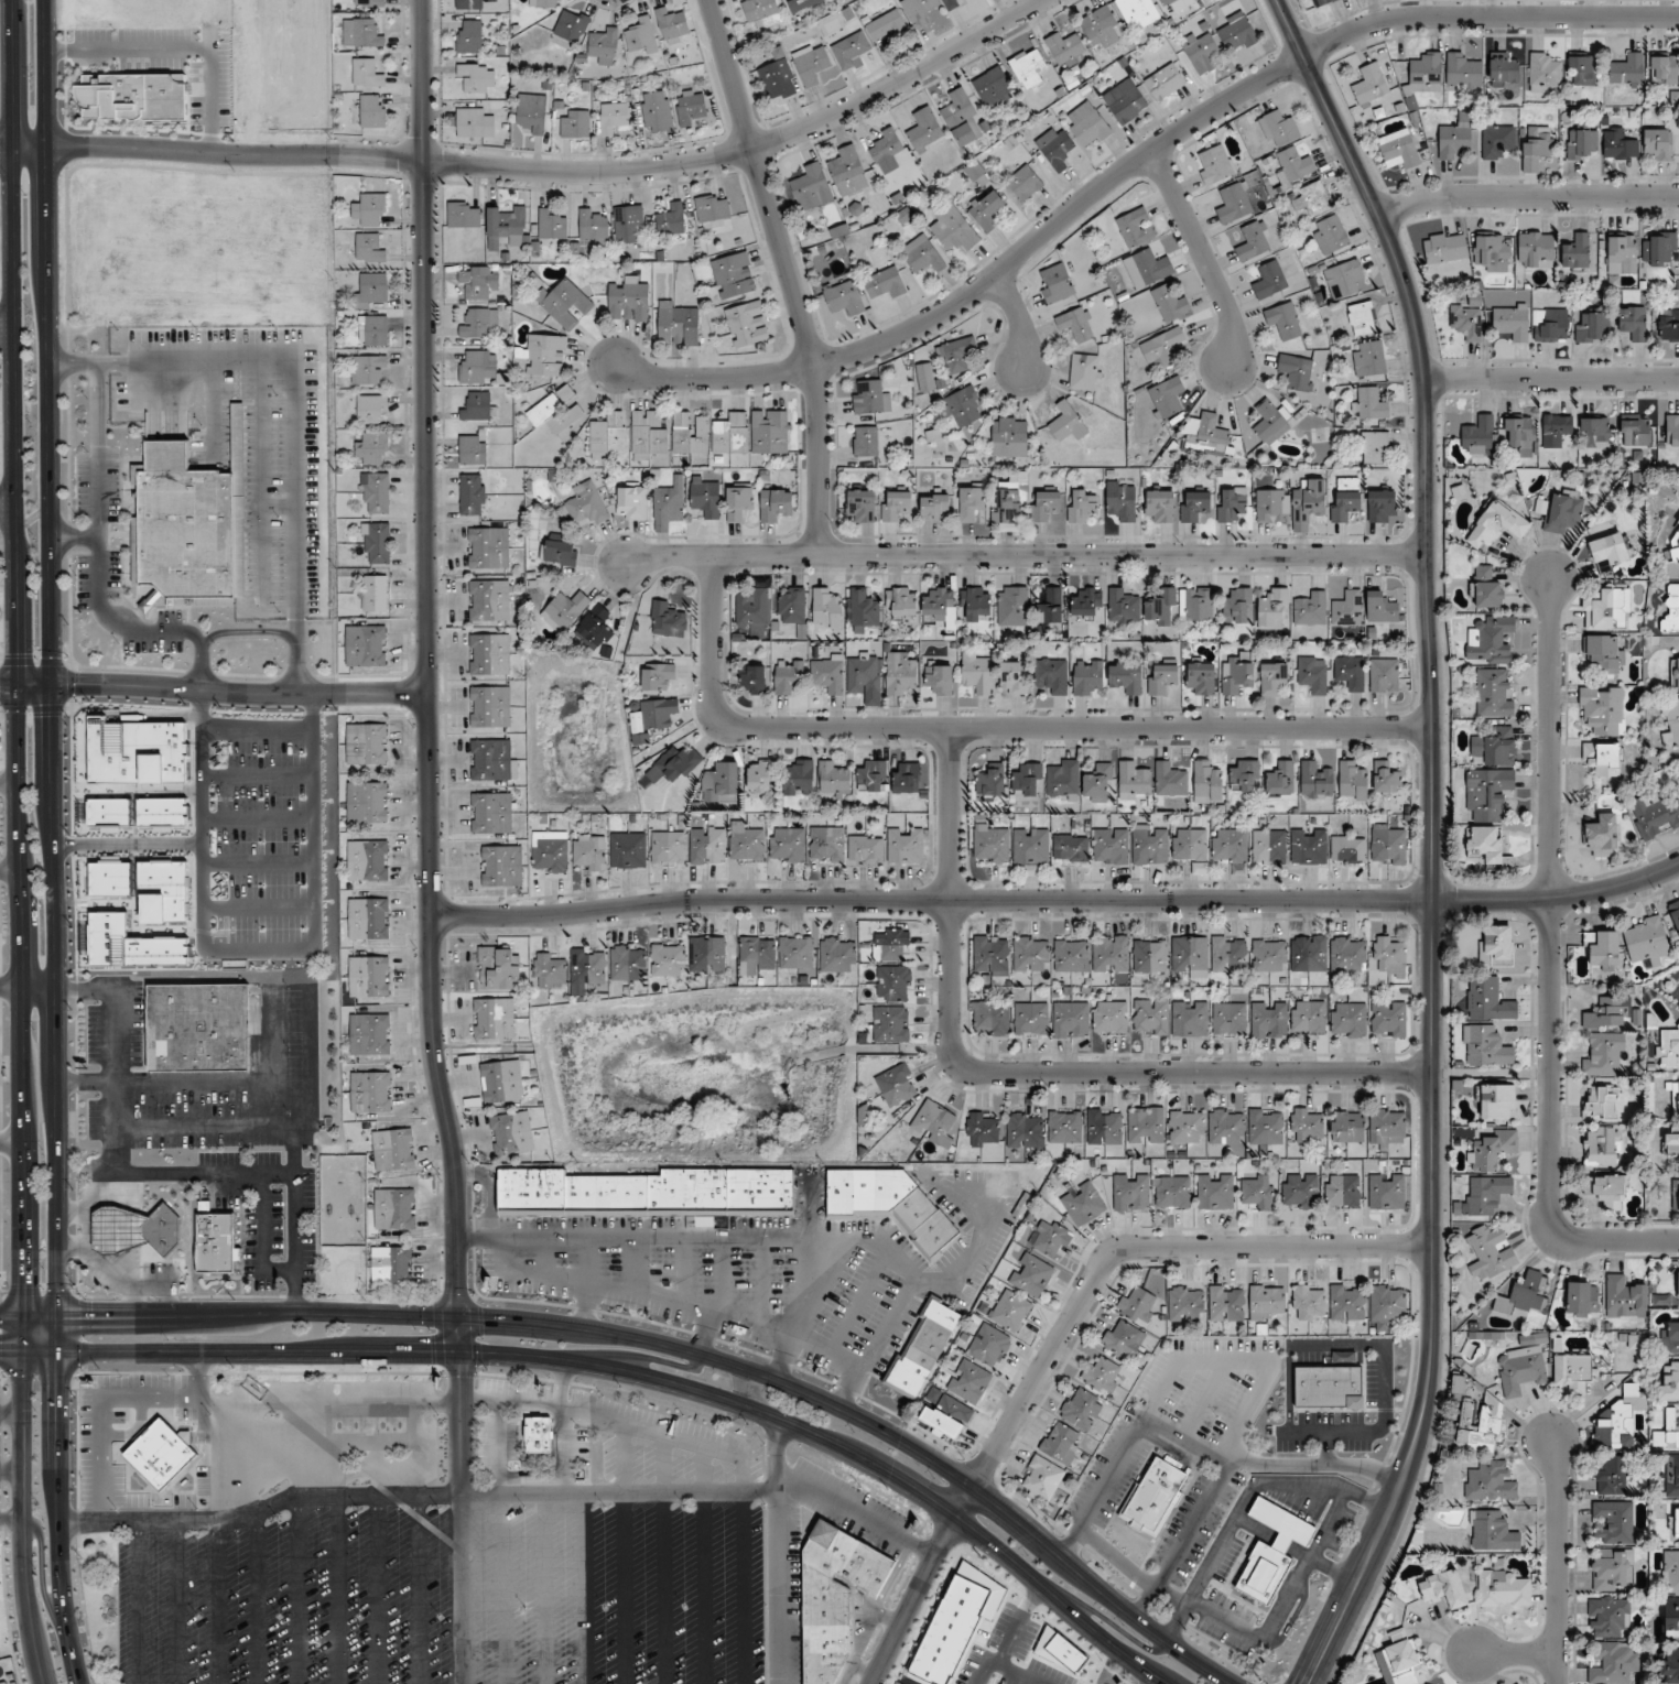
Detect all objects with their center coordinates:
building: (1166, 2)
building: (1322, 2)
building: (369, 3)
building: (543, 3)
building: (952, 3)
building: (468, 4)
building: (802, 4)
building: (918, 11)
building: (761, 13)
building: (1137, 13)
building: (672, 25)
building: (571, 26)
building: (886, 26)
building: (1101, 29)
building: (361, 33)
building: (1238, 34)
building: (468, 36)
building: (641, 37)
building: (604, 46)
building: (1065, 48)
building: (851, 51)
building: (1201, 51)
building: (814, 65)
building: (1028, 67)
building: (1582, 68)
building: (1664, 69)
building: (1503, 70)
building: (1626, 70)
building: (1463, 72)
building: (366, 73)
building: (1543, 73)
building: (778, 75)
building: (1426, 75)
building: (477, 78)
building: (1165, 83)
building: (1371, 86)
building: (993, 88)
building: (1125, 101)
building: (691, 108)
building: (372, 111)
building: (657, 111)
building: (532, 115)
building: (960, 117)
building: (613, 118)
building: (474, 123)
building: (574, 124)
building: (1087, 126)
building: (923, 129)
building: (1279, 129)
building: (1453, 139)
building: (1497, 141)
building: (1537, 142)
building: (1583, 143)
building: (1658, 143)
building: (1620, 144)
building: (1055, 149)
building: (1399, 150)
road: (1134, 164)
building: (1215, 165)
building: (1295, 166)
road: (540, 171)
building: (848, 172)
building: (1023, 184)
building: (812, 188)
road: (1527, 195)
building: (1312, 199)
building: (1234, 203)
building: (370, 210)
building: (713, 210)
building: (987, 210)
building: (464, 215)
building: (672, 220)
building: (627, 224)
building: (507, 226)
building: (551, 226)
building: (594, 226)
building: (1134, 227)
building: (953, 229)
building: (1331, 235)
building: (1254, 241)
building: (370, 248)
building: (1445, 248)
building: (1536, 249)
building: (1659, 249)
building: (1575, 252)
building: (1490, 253)
road: (1203, 254)
building: (1622, 254)
building: (922, 256)
building: (1148, 268)
road: (787, 273)
building: (733, 275)
building: (1343, 279)
building: (1269, 280)
building: (478, 283)
building: (885, 284)
building: (1057, 284)
building: (372, 290)
building: (844, 297)
building: (628, 301)
building: (1169, 303)
building: (565, 304)
road: (1020, 318)
building: (1362, 319)
building: (1467, 320)
building: (1512, 320)
building: (1283, 322)
building: (478, 323)
building: (1634, 323)
building: (747, 324)
building: (676, 325)
building: (1076, 325)
building: (1668, 325)
road: (6, 326)
building: (1592, 326)
building: (1553, 327)
building: (372, 330)
building: (1163, 347)
building: (543, 356)
building: (955, 356)
building: (1368, 359)
building: (474, 367)
building: (368, 369)
building: (1085, 372)
building: (1296, 372)
building: (925, 378)
road: (1552, 378)
building: (1167, 396)
building: (870, 398)
building: (1369, 404)
building: (478, 406)
building: (964, 406)
building: (370, 408)
building: (554, 413)
road: (297, 414)
building: (1065, 423)
building: (1269, 423)
building: (1556, 430)
building: (1635, 430)
building: (1672, 431)
building: (770, 432)
building: (1594, 433)
building: (730, 434)
building: (690, 435)
building: (1206, 435)
building: (1477, 435)
building: (1520, 435)
building: (608, 436)
building: (649, 436)
building: (1009, 436)
building: (866, 441)
building: (371, 448)
building: (1374, 448)
building: (473, 450)
road: (97, 470)
building: (376, 492)
building: (473, 495)
building: (705, 497)
building: (1345, 499)
building: (1122, 500)
building: (1008, 501)
building: (738, 502)
building: (971, 502)
building: (1308, 502)
road: (7, 503)
building: (631, 503)
building: (668, 504)
building: (776, 504)
building: (1231, 504)
building: (586, 506)
building: (862, 506)
building: (896, 506)
building: (1044, 506)
building: (1081, 506)
building: (1159, 507)
building: (1195, 507)
building: (1271, 507)
building: (1380, 507)
building: (934, 508)
building: (1564, 511)
building: (177, 519)
building: (1496, 525)
building: (376, 543)
building: (488, 548)
building: (560, 552)
building: (1610, 552)
road: (1027, 554)
building: (1671, 561)
building: (1485, 588)
building: (375, 594)
building: (489, 600)
building: (901, 602)
building: (938, 602)
building: (975, 602)
building: (1087, 604)
building: (1195, 604)
building: (792, 606)
building: (1012, 606)
building: (1123, 606)
building: (1050, 607)
building: (1160, 607)
building: (1238, 607)
building: (1347, 608)
building: (1380, 608)
building: (566, 609)
building: (752, 609)
building: (826, 609)
building: (1311, 609)
building: (1604, 609)
building: (863, 610)
building: (1272, 610)
building: (1671, 611)
building: (667, 620)
building: (596, 628)
road: (134, 631)
building: (1490, 641)
building: (366, 647)
building: (1604, 653)
building: (489, 654)
building: (900, 672)
building: (977, 672)
building: (1350, 673)
building: (1676, 673)
building: (1237, 674)
building: (1312, 674)
building: (1384, 675)
building: (657, 676)
building: (788, 676)
building: (827, 676)
building: (1052, 676)
road: (425, 677)
building: (865, 677)
building: (1087, 677)
building: (1126, 677)
building: (939, 678)
building: (1012, 678)
building: (1162, 678)
building: (1201, 678)
building: (1274, 678)
building: (751, 680)
road: (28, 682)
traffic signals: (55, 682)
traffic signals: (18, 683)
road: (240, 693)
building: (1494, 694)
building: (489, 707)
building: (1602, 710)
building: (656, 715)
building: (1670, 721)
road: (994, 727)
building: (367, 745)
building: (1495, 749)
building: (1603, 759)
building: (492, 761)
building: (676, 764)
building: (760, 776)
building: (1245, 776)
building: (873, 778)
building: (906, 778)
building: (799, 779)
building: (833, 779)
building: (1280, 779)
building: (1386, 779)
building: (1063, 780)
building: (1170, 780)
building: (1027, 781)
building: (1134, 781)
building: (990, 782)
building: (1315, 782)
building: (1352, 782)
building: (1098, 783)
building: (1206, 783)
building: (721, 784)
building: (1488, 793)
building: (368, 803)
building: (490, 813)
building: (1655, 815)
road: (1433, 839)
building: (1601, 839)
road: (19, 843)
road: (56, 843)
building: (746, 844)
building: (787, 845)
building: (826, 845)
building: (1150, 845)
building: (1387, 845)
building: (707, 846)
building: (905, 846)
building: (992, 846)
building: (1030, 846)
building: (1111, 846)
building: (1190, 846)
building: (1230, 847)
building: (1269, 847)
building: (1309, 847)
building: (1487, 847)
building: (667, 848)
building: (1071, 848)
building: (866, 849)
building: (1347, 850)
building: (628, 851)
building: (550, 852)
building: (588, 854)
building: (368, 861)
building: (501, 867)
road: (1057, 900)
building: (1675, 917)
building: (368, 919)
building: (1647, 942)
building: (891, 945)
building: (1496, 946)
building: (1602, 949)
building: (795, 954)
building: (1031, 954)
building: (1111, 954)
building: (1228, 954)
building: (1309, 954)
building: (1389, 954)
building: (707, 955)
building: (837, 955)
building: (1190, 955)
building: (1269, 955)
building: (1347, 955)
building: (757, 956)
building: (990, 956)
building: (1071, 956)
building: (1149, 956)
building: (668, 960)
building: (628, 963)
road: (1551, 966)
building: (499, 968)
building: (587, 969)
building: (550, 971)
building: (369, 977)
building: (892, 982)
road: (39, 987)
building: (1488, 1000)
building: (1608, 1013)
building: (1309, 1017)
building: (1109, 1018)
building: (1150, 1018)
building: (494, 1019)
building: (990, 1019)
building: (1031, 1019)
building: (1190, 1019)
building: (1230, 1019)
building: (1388, 1019)
building: (1071, 1020)
building: (1269, 1020)
building: (1348, 1020)
building: (891, 1024)
building: (199, 1028)
building: (369, 1034)
road: (117, 1037)
building: (1485, 1046)
building: (1668, 1050)
building: (1605, 1056)
road: (1026, 1073)
building: (501, 1082)
building: (897, 1085)
building: (370, 1093)
building: (1675, 1097)
building: (1496, 1101)
building: (1603, 1102)
building: (932, 1125)
building: (1146, 1126)
building: (1307, 1126)
building: (1104, 1127)
building: (1187, 1127)
building: (1226, 1127)
building: (1266, 1127)
building: (1346, 1127)
building: (1065, 1128)
building: (1387, 1128)
building: (982, 1131)
building: (1026, 1131)
building: (512, 1133)
building: (1671, 1141)
building: (1602, 1147)
building: (393, 1150)
building: (1491, 1151)
building: (641, 1186)
road: (489, 1188)
building: (1300, 1191)
building: (1342, 1191)
building: (1606, 1191)
building: (1172, 1192)
building: (1215, 1192)
building: (1258, 1192)
building: (1386, 1192)
building: (1130, 1193)
building: (882, 1194)
building: (1485, 1194)
building: (1675, 1195)
building: (1083, 1205)
building: (394, 1209)
building: (134, 1230)
road: (695, 1234)
building: (1051, 1239)
building: (215, 1241)
building: (1490, 1253)
building: (391, 1268)
building: (1031, 1275)
road: (916, 1279)
road: (587, 1281)
traffic signals: (24, 1282)
building: (1678, 1285)
building: (1524, 1294)
road: (718, 1296)
building: (1625, 1297)
building: (1582, 1300)
road: (667, 1301)
building: (1267, 1303)
building: (1309, 1303)
building: (1347, 1303)
building: (1388, 1303)
building: (1185, 1304)
building: (1226, 1304)
building: (1138, 1305)
road: (802, 1306)
building: (1010, 1311)
traffic signals: (94, 1314)
traffic signals: (459, 1317)
road: (1065, 1325)
building: (1670, 1338)
building: (1123, 1339)
building: (918, 1341)
road: (665, 1346)
building: (989, 1346)
traffic signals: (461, 1352)
road: (648, 1358)
building: (1521, 1367)
road: (629, 1372)
building: (1573, 1373)
building: (1102, 1375)
building: (970, 1382)
building: (1669, 1384)
building: (1328, 1387)
traffic signals: (57, 1388)
building: (1081, 1410)
building: (946, 1417)
building: (368, 1425)
building: (1481, 1427)
building: (1620, 1427)
building: (1667, 1433)
building: (538, 1435)
building: (1061, 1444)
building: (160, 1455)
building: (1610, 1476)
building: (1671, 1477)
building: (1042, 1478)
building: (1490, 1482)
building: (1148, 1487)
road: (415, 1493)
road: (463, 1518)
building: (1613, 1523)
building: (1675, 1523)
building: (1493, 1532)
road: (776, 1551)
building: (1272, 1552)
road: (1558, 1561)
building: (1612, 1569)
building: (1670, 1573)
building: (1443, 1589)
building: (1503, 1589)
building: (826, 1593)
building: (1607, 1617)
building: (1671, 1618)
road: (1116, 1625)
road: (1510, 1656)
building: (1400, 1661)
building: (1614, 1664)
building: (1670, 1669)
building: (4, 1683)

